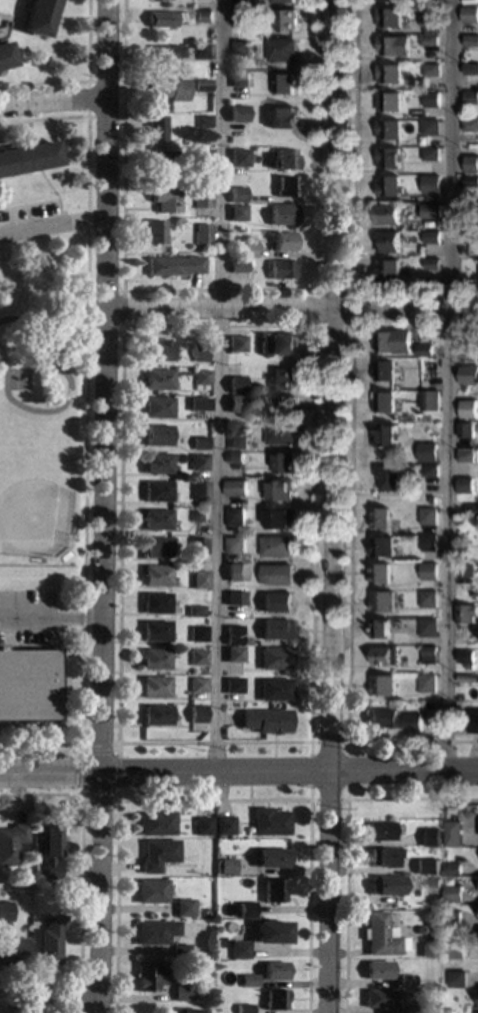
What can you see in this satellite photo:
building: (280, 0)
building: (387, 0)
building: (239, 3)
building: (189, 6)
road: (25, 7)
building: (469, 14)
building: (203, 16)
building: (38, 17)
building: (240, 17)
building: (388, 17)
building: (161, 19)
building: (284, 19)
building: (429, 21)
road: (4, 25)
road: (1, 29)
building: (428, 40)
building: (470, 40)
building: (392, 44)
building: (240, 47)
building: (281, 49)
building: (202, 51)
building: (165, 53)
building: (4, 56)
building: (470, 68)
building: (430, 69)
building: (388, 73)
building: (239, 79)
road: (85, 83)
road: (87, 83)
building: (282, 83)
building: (201, 86)
building: (168, 89)
building: (470, 96)
building: (430, 99)
building: (387, 101)
road: (52, 102)
building: (237, 114)
building: (407, 116)
building: (283, 118)
building: (202, 122)
building: (469, 124)
building: (429, 126)
building: (155, 129)
building: (387, 129)
building: (429, 153)
building: (199, 156)
building: (386, 157)
building: (28, 158)
building: (238, 158)
building: (160, 159)
building: (284, 160)
building: (470, 164)
building: (470, 179)
building: (429, 181)
building: (387, 186)
building: (286, 187)
road: (53, 194)
building: (236, 195)
building: (200, 197)
building: (163, 199)
road: (28, 205)
road: (351, 208)
building: (471, 209)
building: (429, 210)
building: (236, 213)
building: (386, 213)
parking lot: (30, 214)
building: (281, 215)
road: (51, 225)
building: (153, 232)
building: (200, 234)
building: (430, 236)
building: (470, 236)
building: (386, 241)
building: (283, 242)
building: (245, 250)
building: (430, 263)
building: (171, 266)
building: (237, 267)
building: (281, 269)
building: (386, 269)
road: (217, 290)
road: (290, 308)
road: (119, 324)
road: (351, 324)
building: (390, 341)
building: (235, 344)
building: (276, 344)
building: (466, 348)
building: (423, 349)
building: (157, 351)
building: (197, 352)
building: (248, 370)
building: (382, 370)
building: (468, 375)
building: (200, 377)
building: (281, 378)
building: (156, 379)
building: (235, 384)
road: (221, 385)
road: (451, 385)
road: (101, 386)
park: (46, 398)
building: (429, 399)
building: (382, 401)
building: (197, 404)
building: (235, 404)
building: (285, 405)
building: (156, 407)
building: (467, 408)
building: (465, 429)
road: (83, 432)
building: (280, 432)
building: (384, 434)
building: (156, 436)
building: (237, 439)
building: (197, 443)
building: (426, 451)
building: (465, 456)
building: (234, 457)
building: (196, 462)
building: (283, 462)
building: (154, 464)
building: (429, 470)
building: (385, 476)
building: (464, 484)
building: (235, 487)
building: (155, 491)
building: (198, 491)
building: (278, 491)
park: (32, 495)
building: (431, 499)
road: (334, 506)
building: (471, 509)
building: (234, 515)
building: (427, 515)
building: (198, 516)
building: (276, 518)
building: (378, 518)
building: (155, 519)
road: (349, 533)
building: (427, 542)
building: (234, 544)
building: (196, 546)
building: (275, 546)
building: (380, 546)
building: (153, 548)
building: (243, 557)
building: (464, 569)
building: (427, 570)
building: (234, 571)
building: (379, 573)
building: (276, 574)
building: (154, 575)
building: (198, 580)
building: (234, 598)
building: (426, 598)
building: (275, 601)
building: (381, 601)
building: (156, 604)
building: (193, 611)
building: (463, 613)
road: (48, 616)
building: (427, 626)
building: (379, 628)
building: (274, 629)
building: (154, 631)
building: (196, 634)
building: (232, 635)
building: (233, 654)
building: (428, 654)
building: (382, 655)
building: (197, 657)
building: (467, 657)
building: (154, 659)
building: (274, 659)
building: (465, 677)
building: (425, 682)
building: (28, 685)
building: (197, 685)
building: (381, 685)
building: (233, 686)
building: (154, 687)
building: (274, 690)
building: (474, 696)
building: (196, 715)
building: (155, 716)
building: (393, 719)
building: (471, 720)
building: (265, 721)
road: (311, 740)
road: (346, 770)
road: (157, 771)
road: (49, 773)
road: (116, 790)
road: (347, 797)
road: (213, 799)
building: (269, 822)
building: (156, 823)
building: (202, 826)
building: (223, 826)
building: (379, 831)
building: (429, 837)
building: (452, 838)
road: (346, 840)
building: (11, 844)
building: (49, 851)
building: (156, 854)
building: (271, 857)
building: (384, 857)
building: (225, 867)
building: (425, 867)
building: (451, 868)
building: (433, 882)
building: (385, 885)
road: (80, 888)
building: (273, 890)
building: (149, 891)
road: (97, 893)
building: (452, 893)
building: (182, 908)
building: (245, 910)
building: (5, 912)
building: (451, 920)
building: (420, 930)
building: (153, 932)
building: (270, 933)
building: (450, 934)
building: (379, 936)
building: (431, 939)
building: (49, 940)
building: (218, 943)
building: (237, 949)
building: (454, 949)
building: (13, 951)
building: (179, 951)
building: (427, 951)
building: (453, 965)
building: (274, 970)
building: (377, 970)
building: (147, 976)
building: (457, 978)
building: (405, 980)
building: (249, 981)
building: (180, 992)
road: (78, 998)
building: (376, 998)
building: (274, 999)
road: (49, 1004)
building: (405, 1008)
building: (243, 1009)
building: (184, 1010)
building: (447, 1011)

